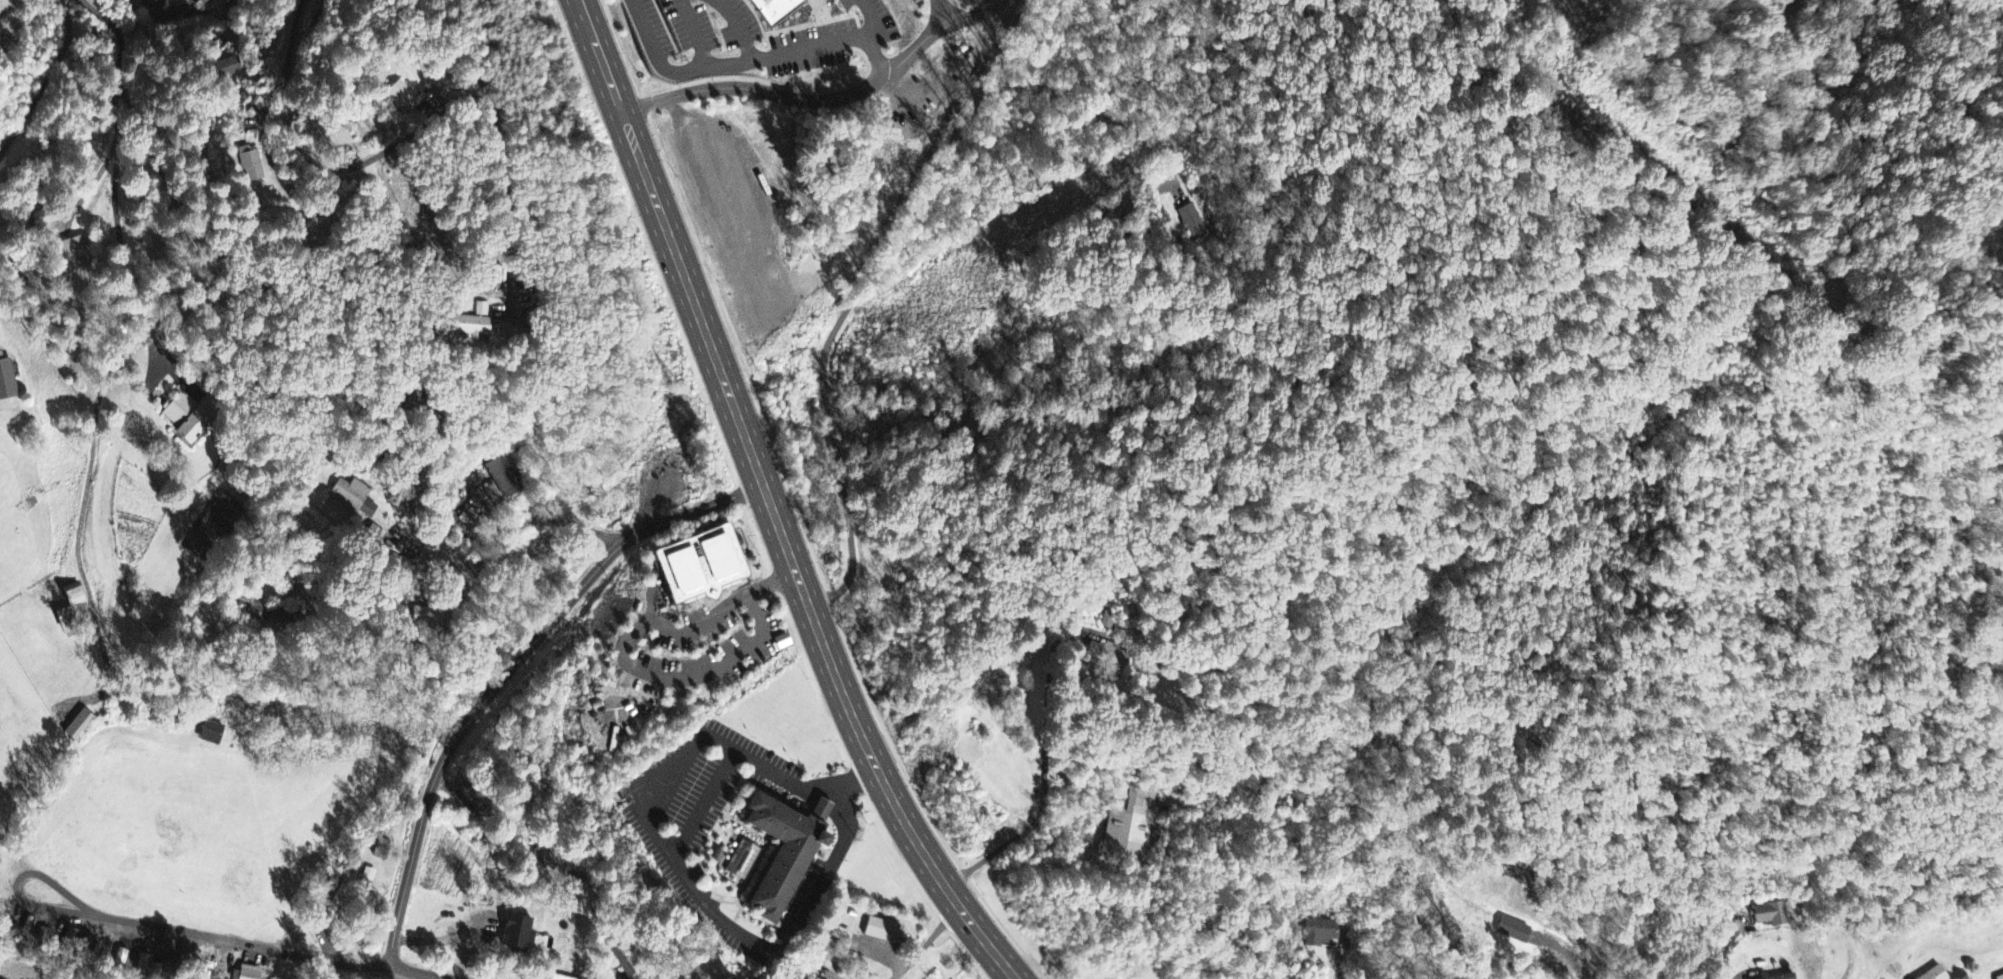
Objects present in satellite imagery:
building: (1544, 0)
road: (1006, 2)
building: (156, 5)
building: (773, 7)
road: (950, 11)
road: (883, 23)
road: (739, 26)
road: (691, 32)
road: (751, 59)
road: (42, 76)
building: (393, 98)
road: (825, 101)
road: (111, 150)
road: (302, 152)
building: (245, 165)
road: (501, 183)
road: (91, 193)
building: (1194, 219)
road: (889, 239)
building: (74, 255)
building: (483, 304)
building: (469, 323)
building: (7, 380)
building: (414, 398)
building: (186, 418)
road: (440, 419)
building: (385, 447)
building: (508, 472)
building: (356, 495)
road: (771, 503)
park: (215, 521)
building: (378, 531)
building: (695, 562)
road: (476, 563)
building: (290, 582)
road: (366, 589)
building: (251, 604)
building: (68, 607)
building: (430, 614)
building: (1111, 616)
building: (291, 619)
building: (783, 639)
building: (1107, 651)
road: (619, 653)
building: (1216, 666)
road: (510, 673)
helipad: (614, 715)
building: (83, 723)
building: (213, 730)
road: (1042, 759)
road: (73, 766)
building: (486, 799)
road: (705, 804)
building: (1126, 821)
building: (380, 847)
building: (781, 848)
building: (548, 853)
road: (670, 854)
building: (717, 854)
building: (742, 858)
building: (368, 872)
building: (331, 905)
building: (1772, 916)
road: (152, 925)
building: (1320, 930)
building: (513, 931)
building: (880, 932)
building: (1513, 932)
road: (928, 942)
road: (1720, 946)
building: (622, 959)
building: (809, 964)
building: (1313, 964)
building: (247, 971)
road: (419, 973)
road: (1338, 973)
road: (833, 974)
building: (1294, 974)
building: (1936, 975)
building: (558, 977)
building: (1787, 977)
building: (2001, 977)
building: (814, 978)

